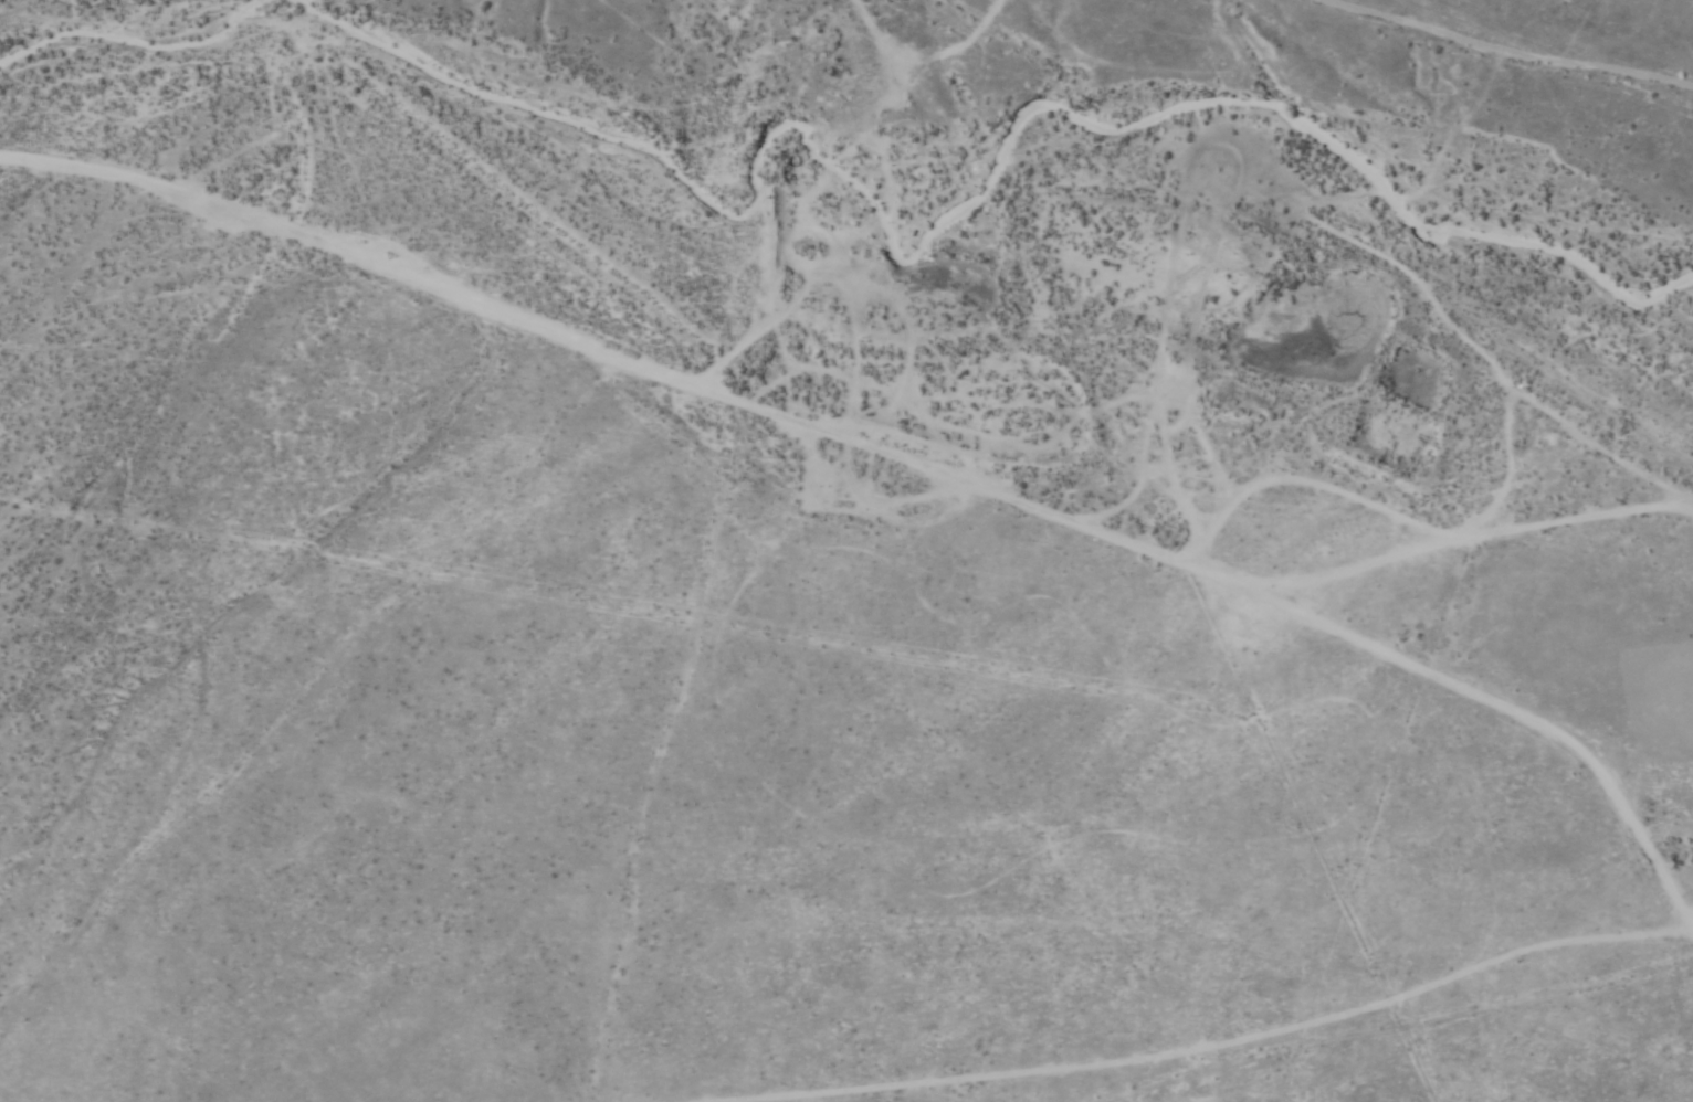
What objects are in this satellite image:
road: (1491, 560)

